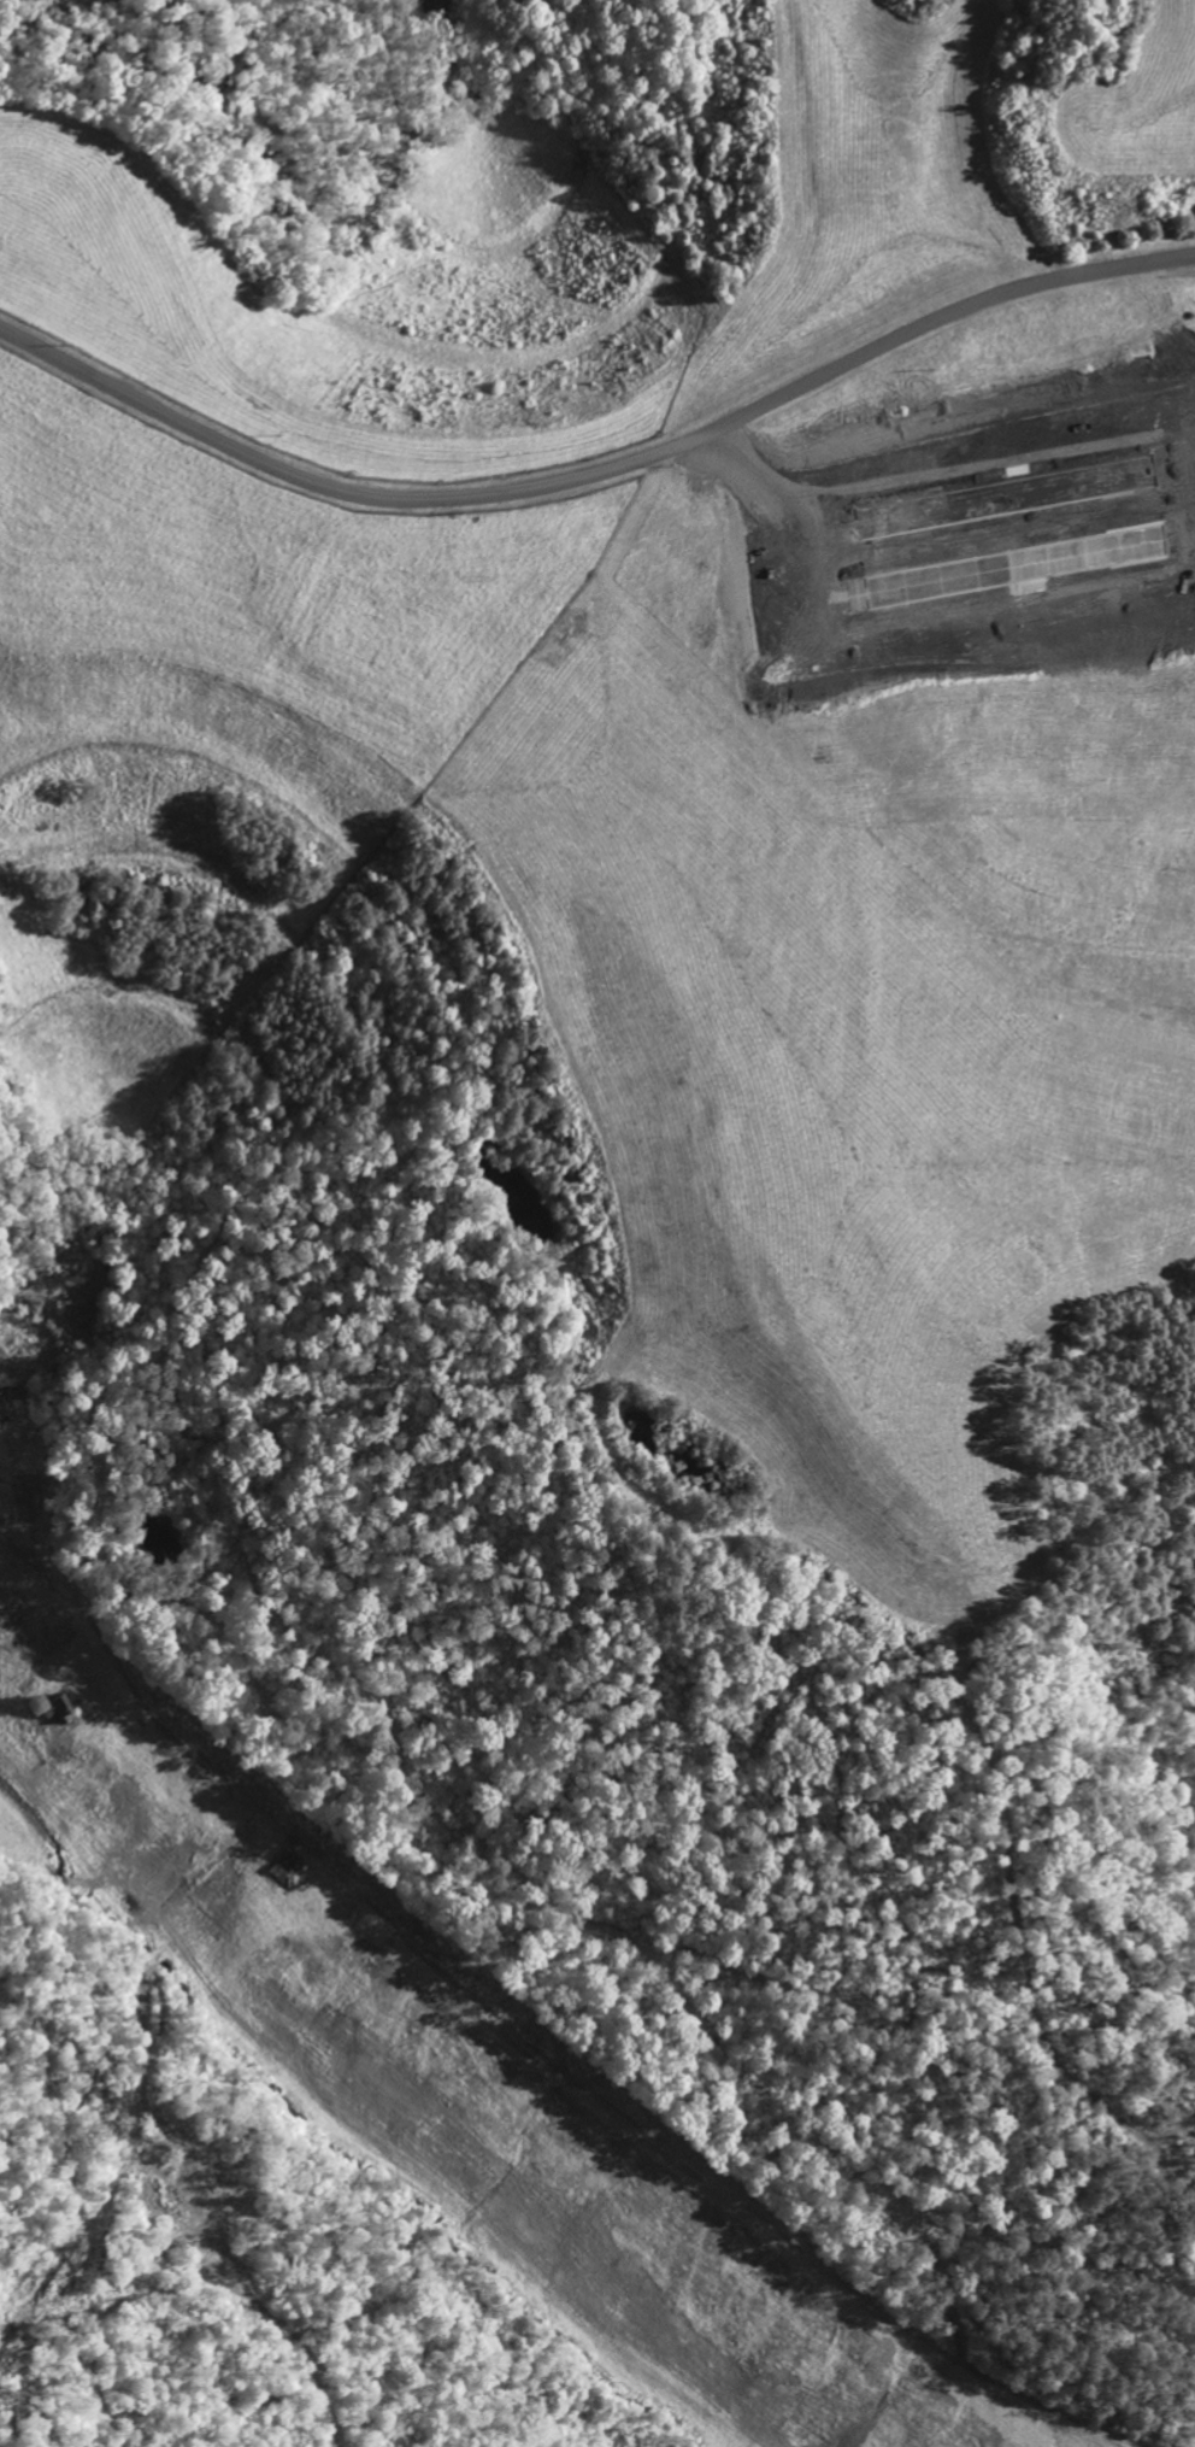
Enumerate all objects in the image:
road: (595, 465)
building: (65, 1712)

